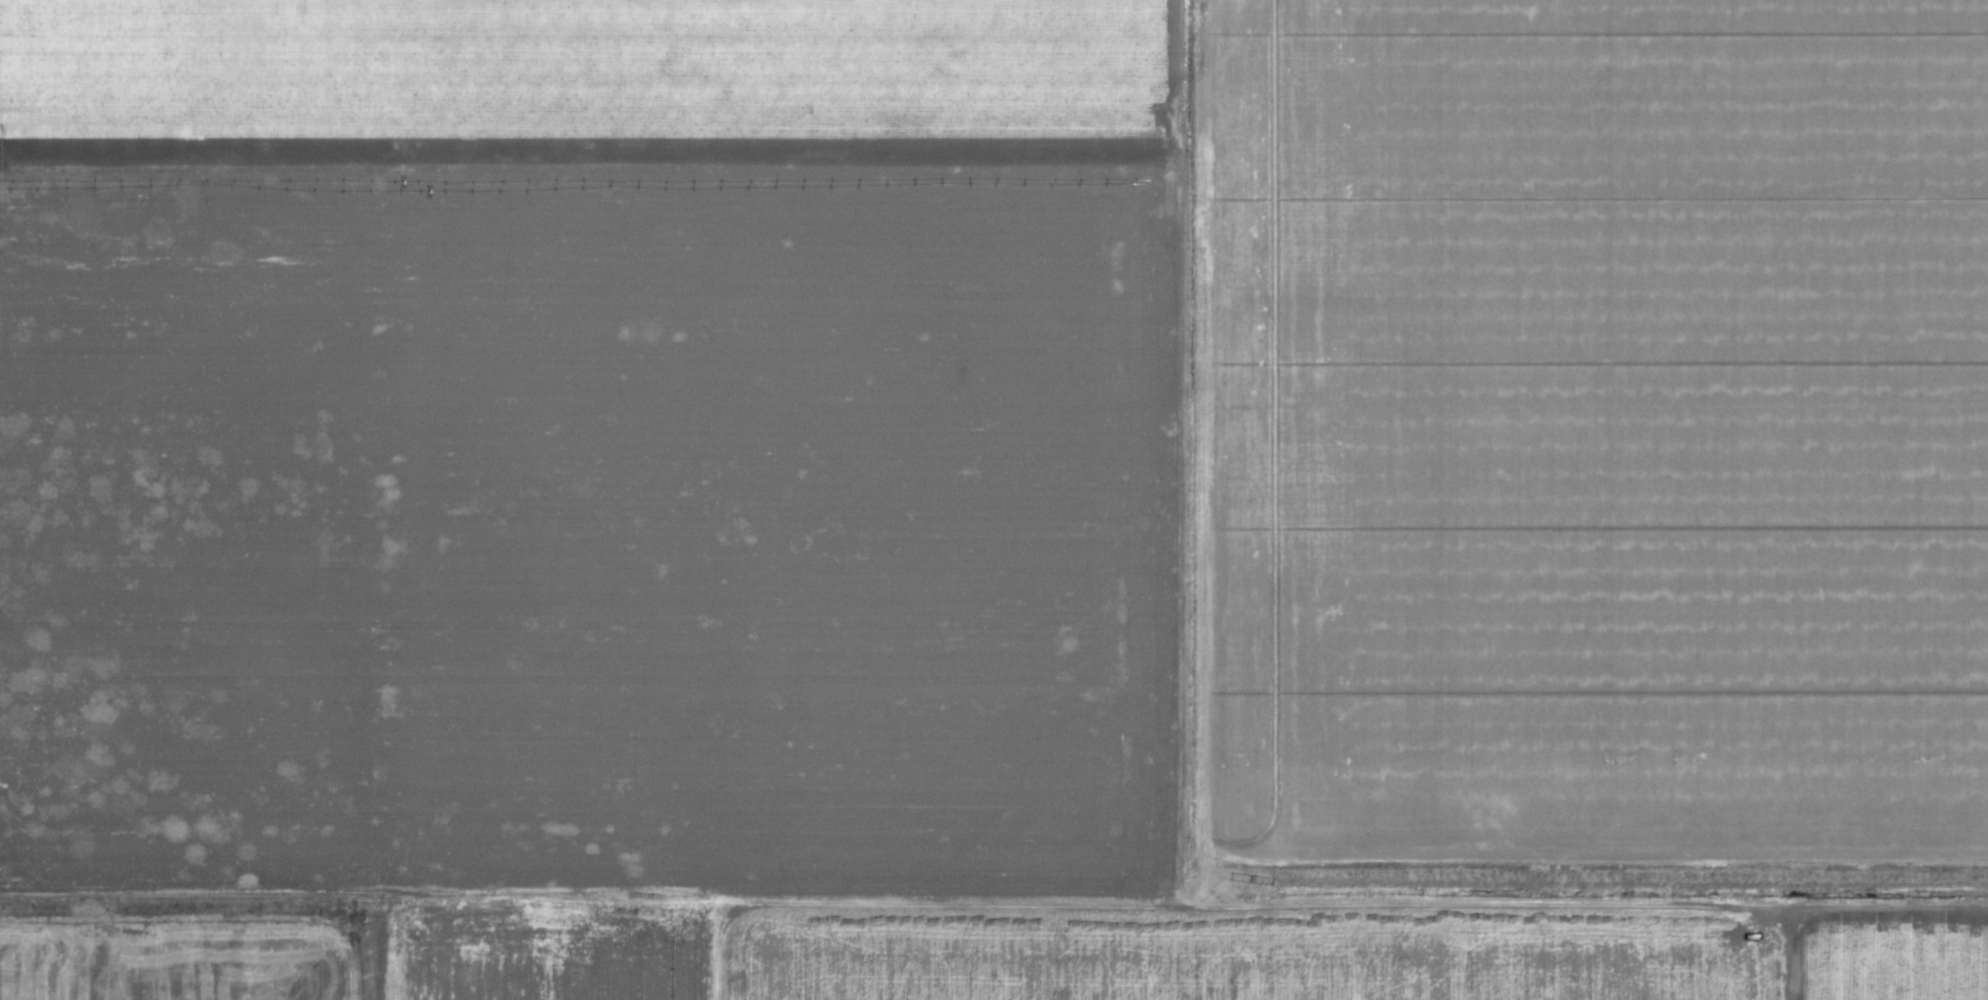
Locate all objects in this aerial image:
crop: (137, 63)
crop: (744, 66)
crop: (165, 379)
crop: (1594, 427)
crop: (765, 512)
crop: (166, 761)
crop: (1249, 947)
crop: (543, 957)
crop: (1894, 958)
crop: (175, 961)

